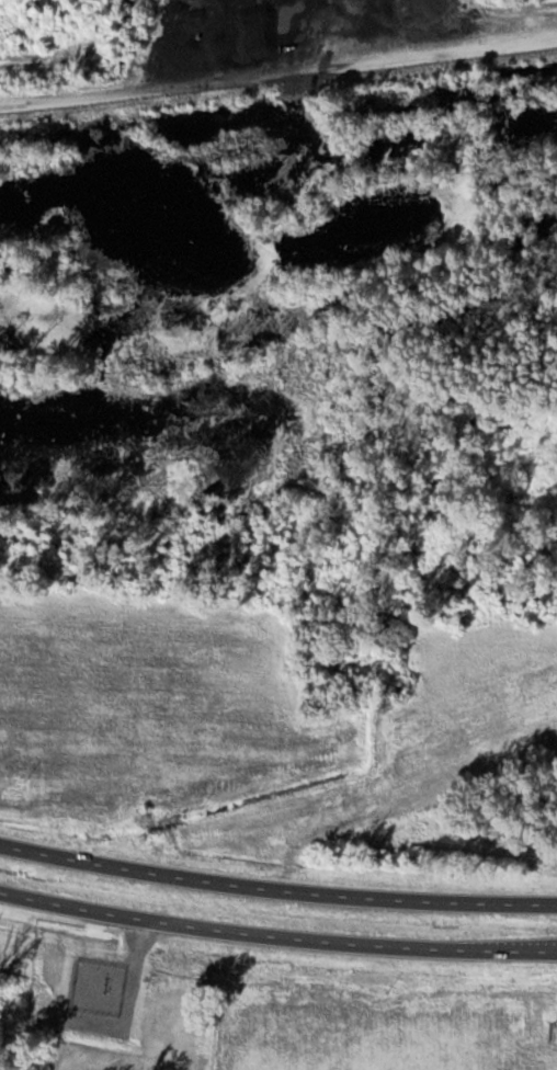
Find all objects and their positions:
road: (278, 72)
railway: (278, 82)
road: (465, 587)
road: (276, 888)
road: (230, 930)
road: (511, 949)
building: (156, 1011)

